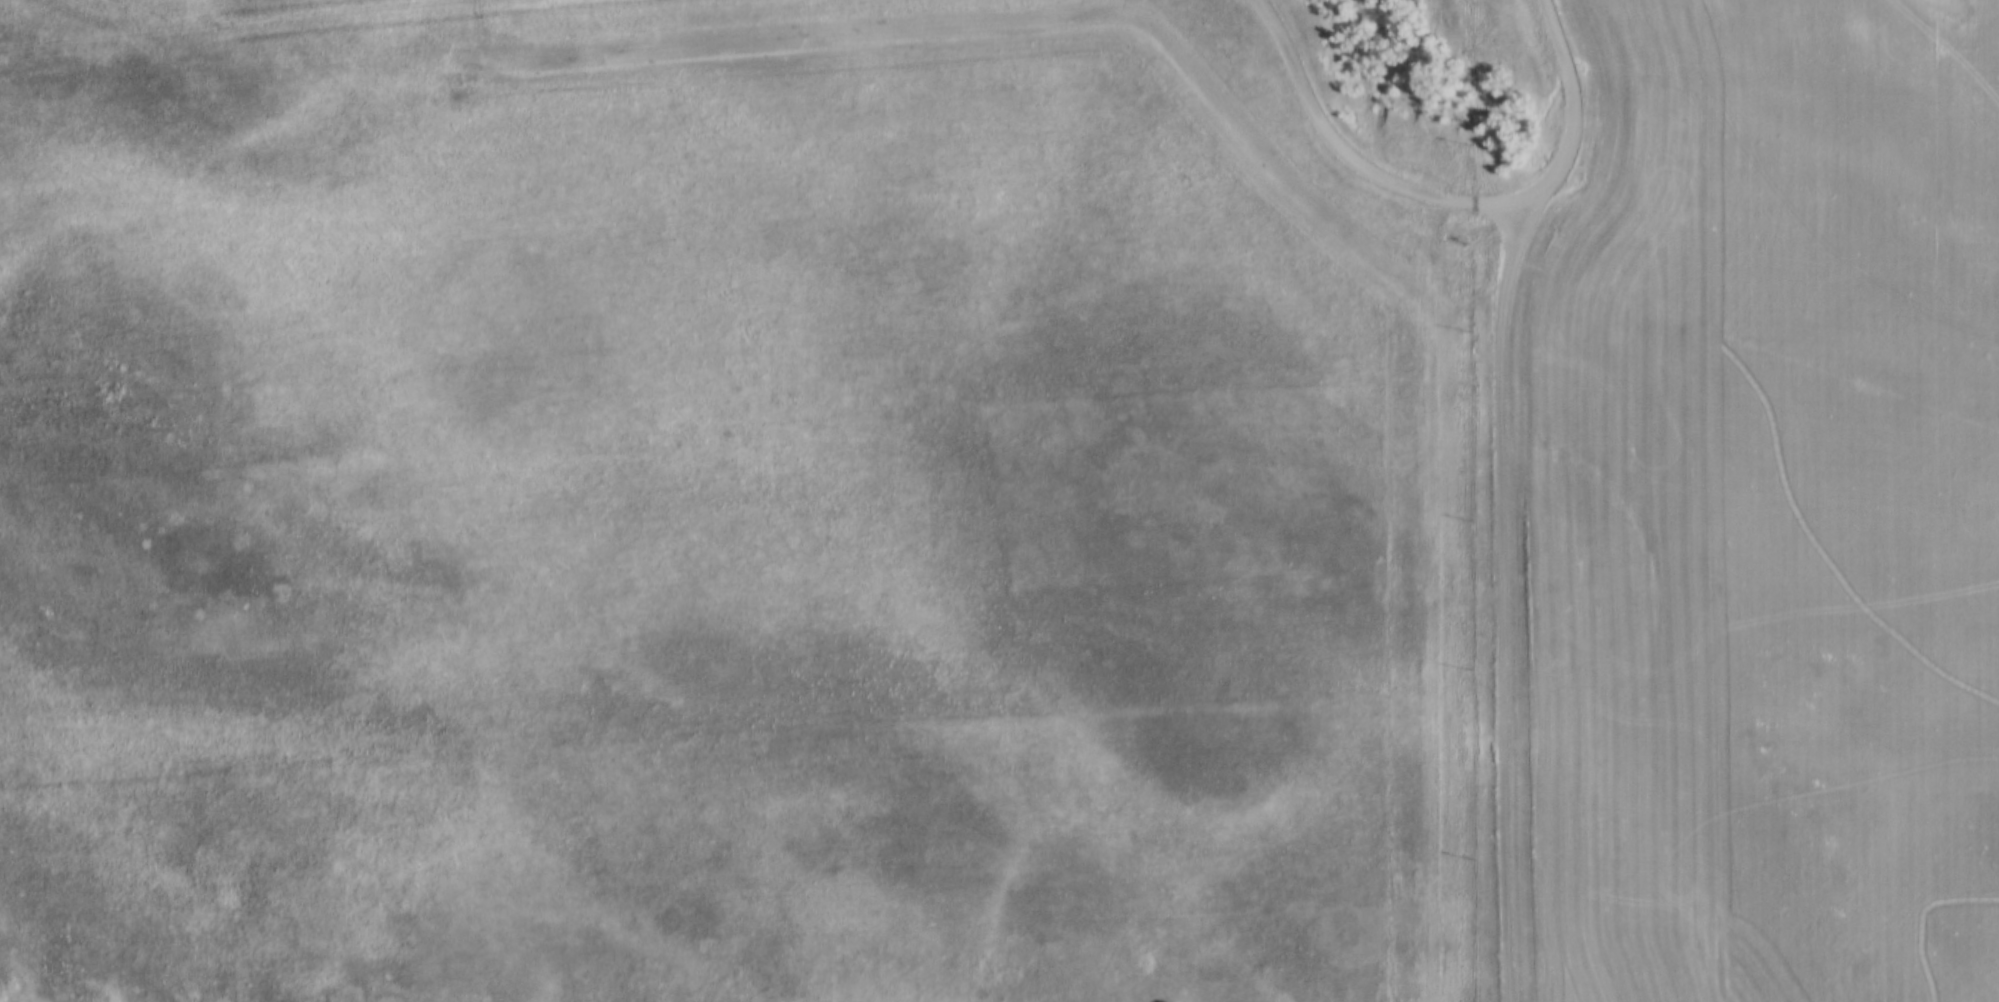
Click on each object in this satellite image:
road: (1451, 200)
road: (1450, 598)

